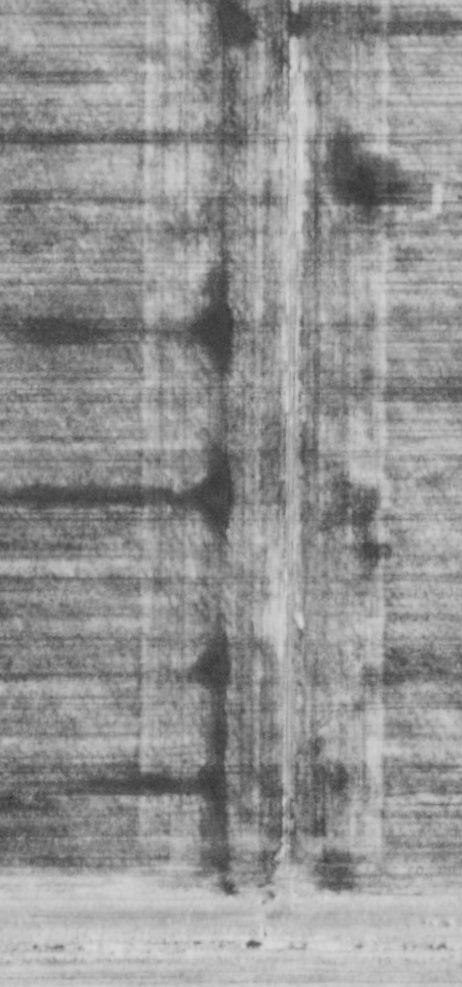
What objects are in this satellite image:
crop: (230, 435)
road: (359, 873)
road: (231, 914)

